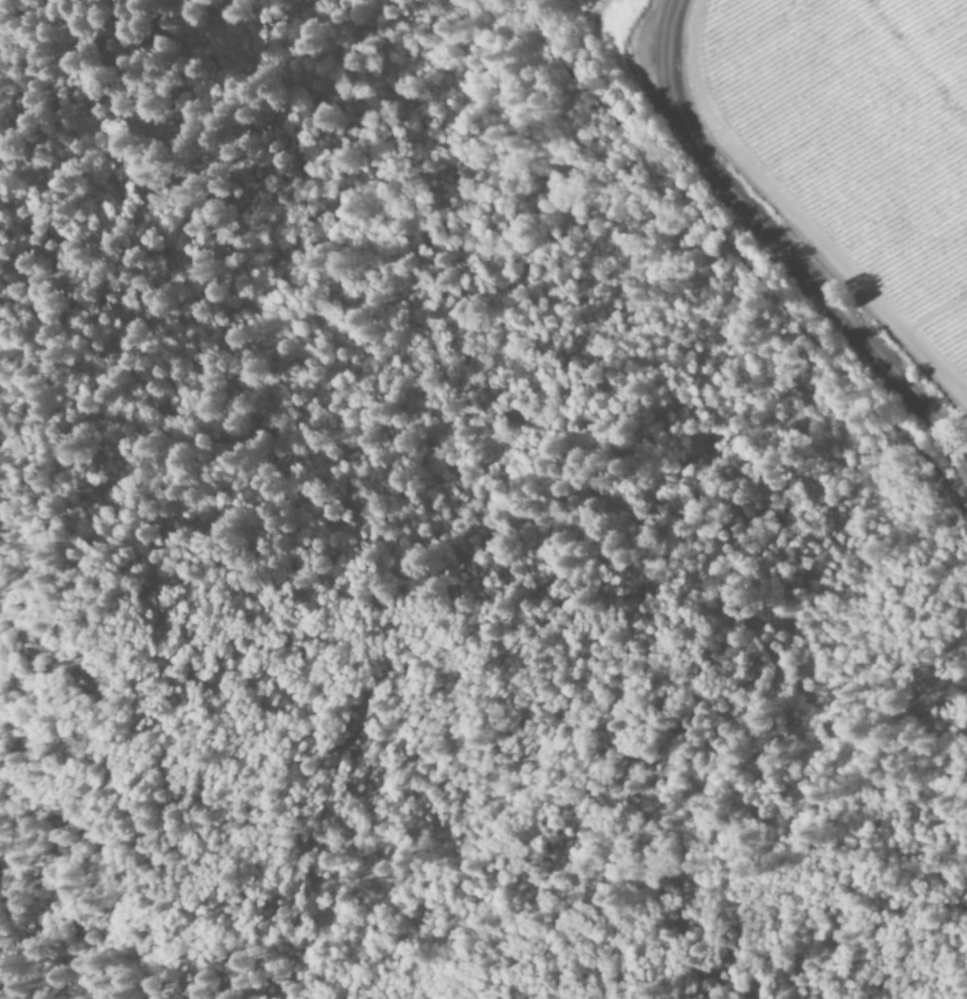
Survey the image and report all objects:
road: (775, 251)

